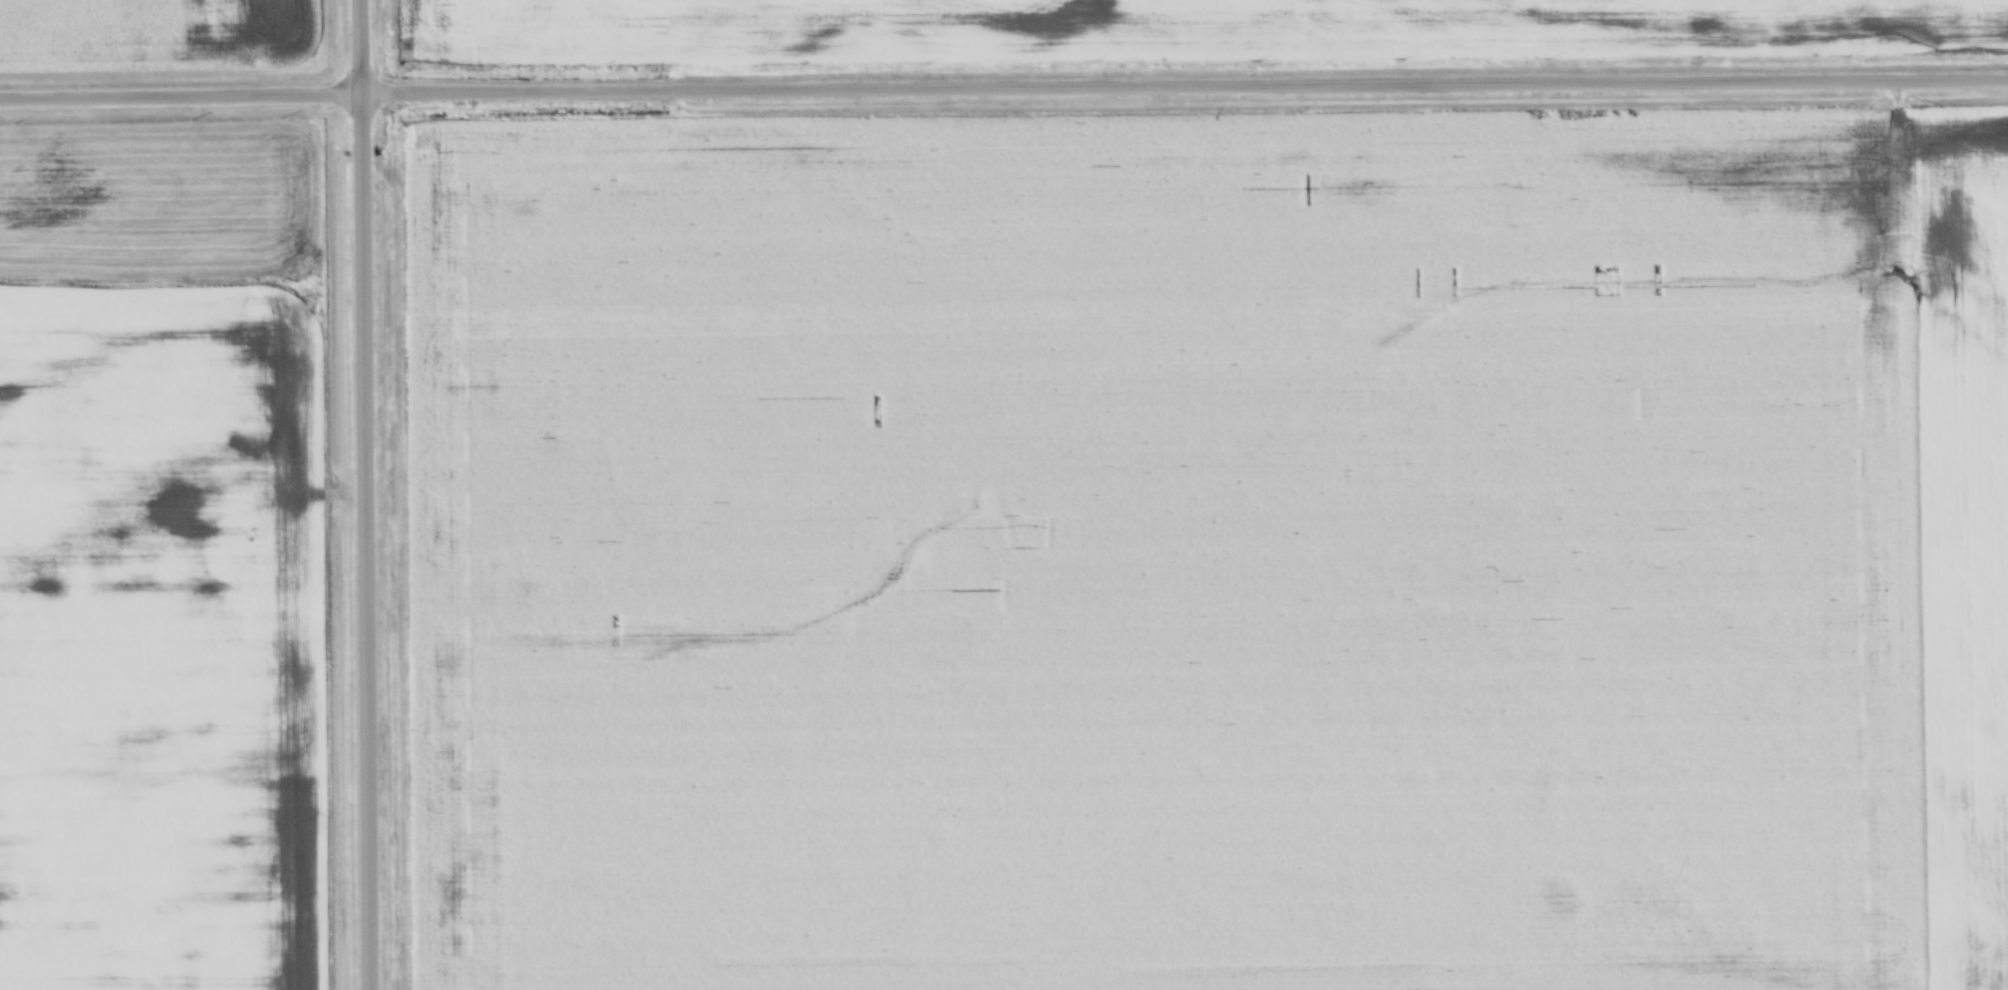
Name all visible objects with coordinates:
road: (1003, 88)
road: (360, 494)

